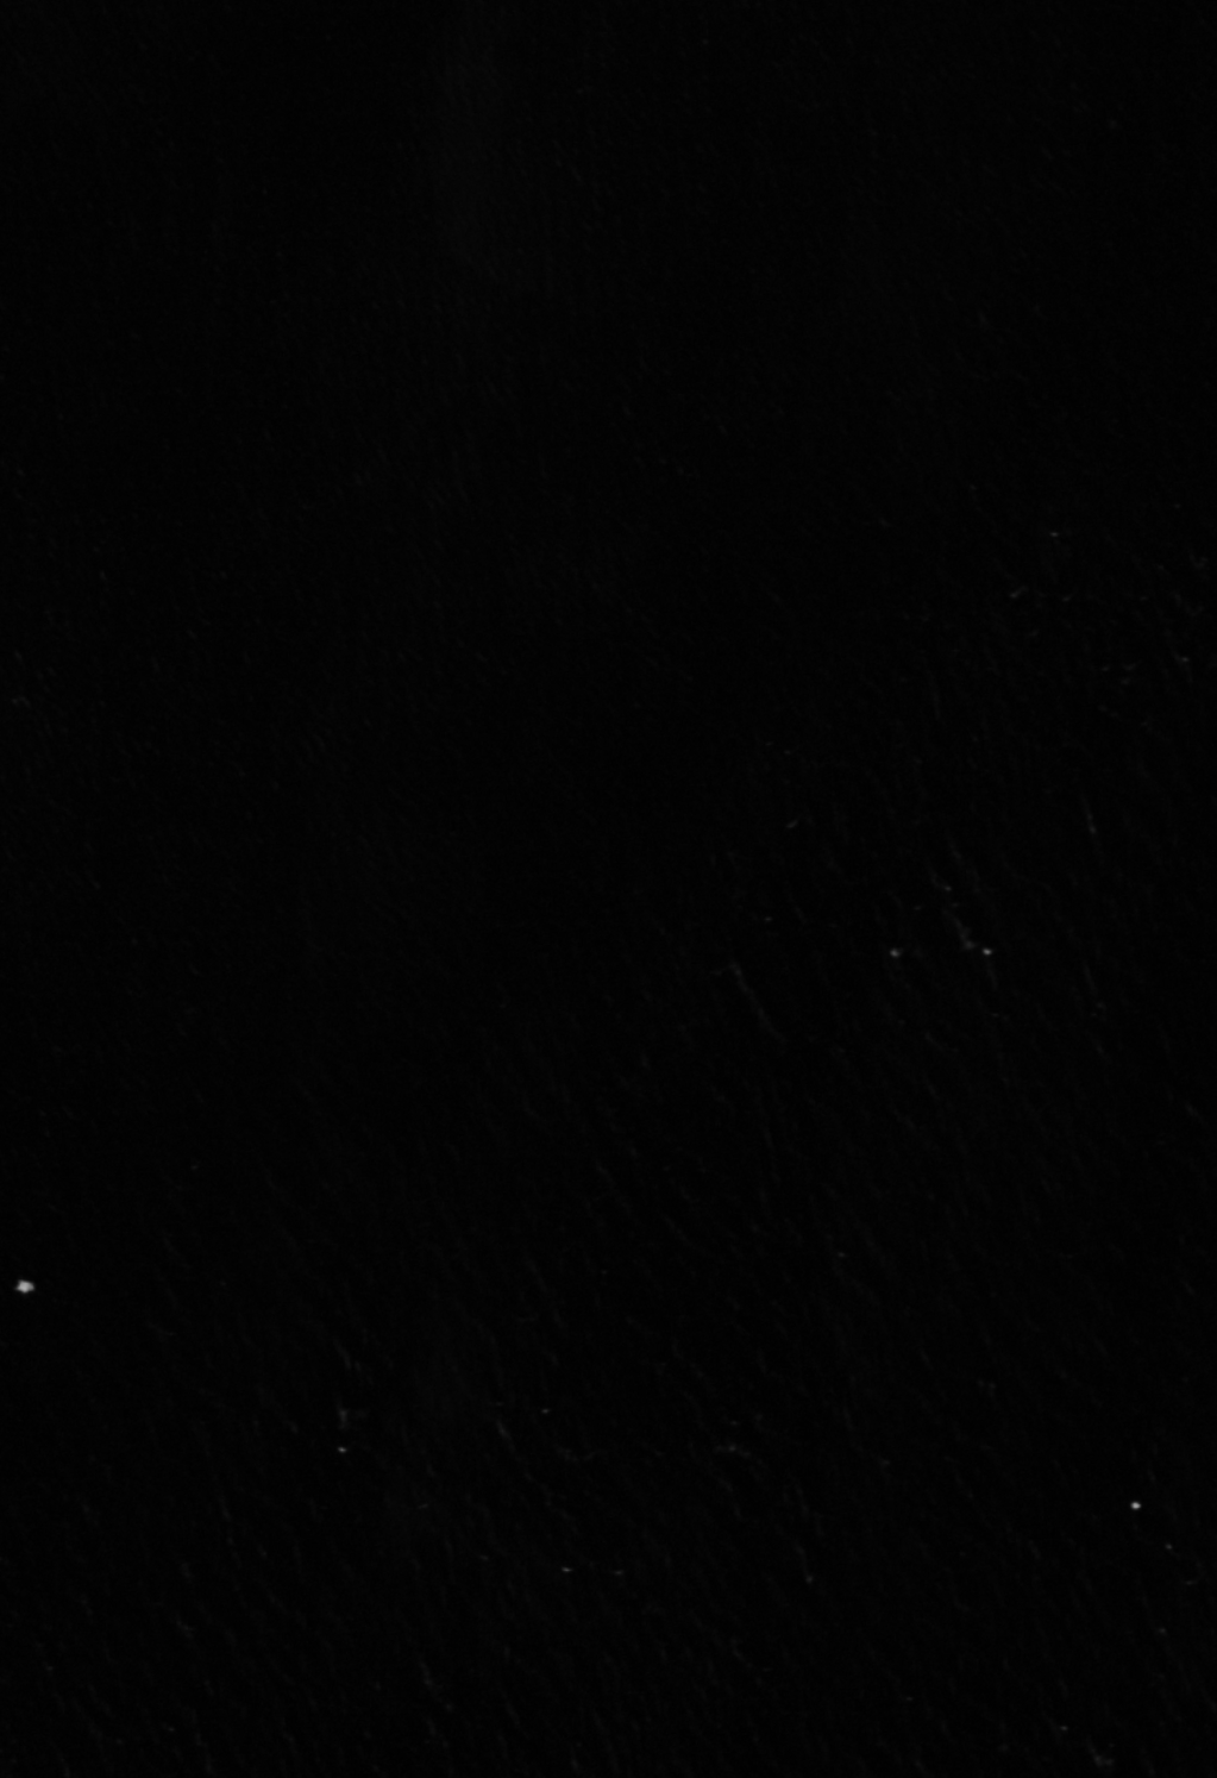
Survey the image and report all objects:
river: (971, 1505)

